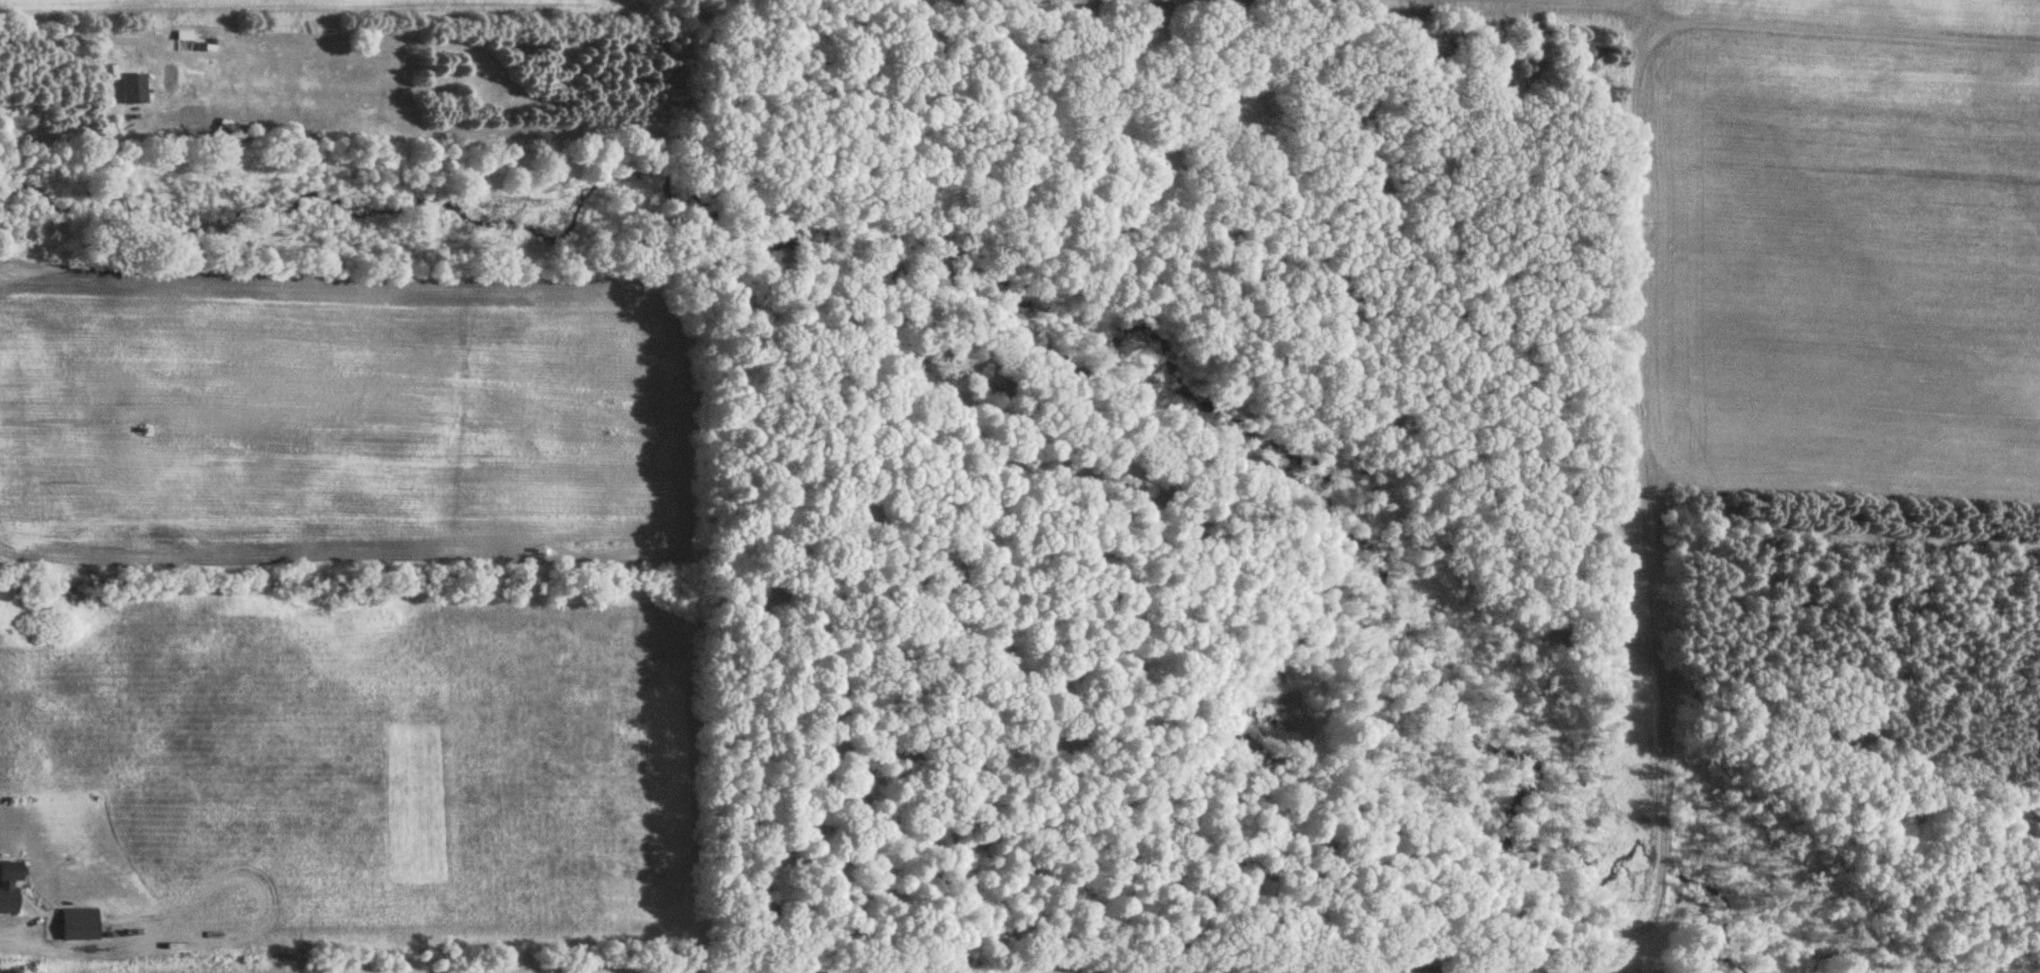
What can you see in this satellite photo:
building: (154, 73)
building: (7, 894)
building: (79, 926)
road: (18, 936)

